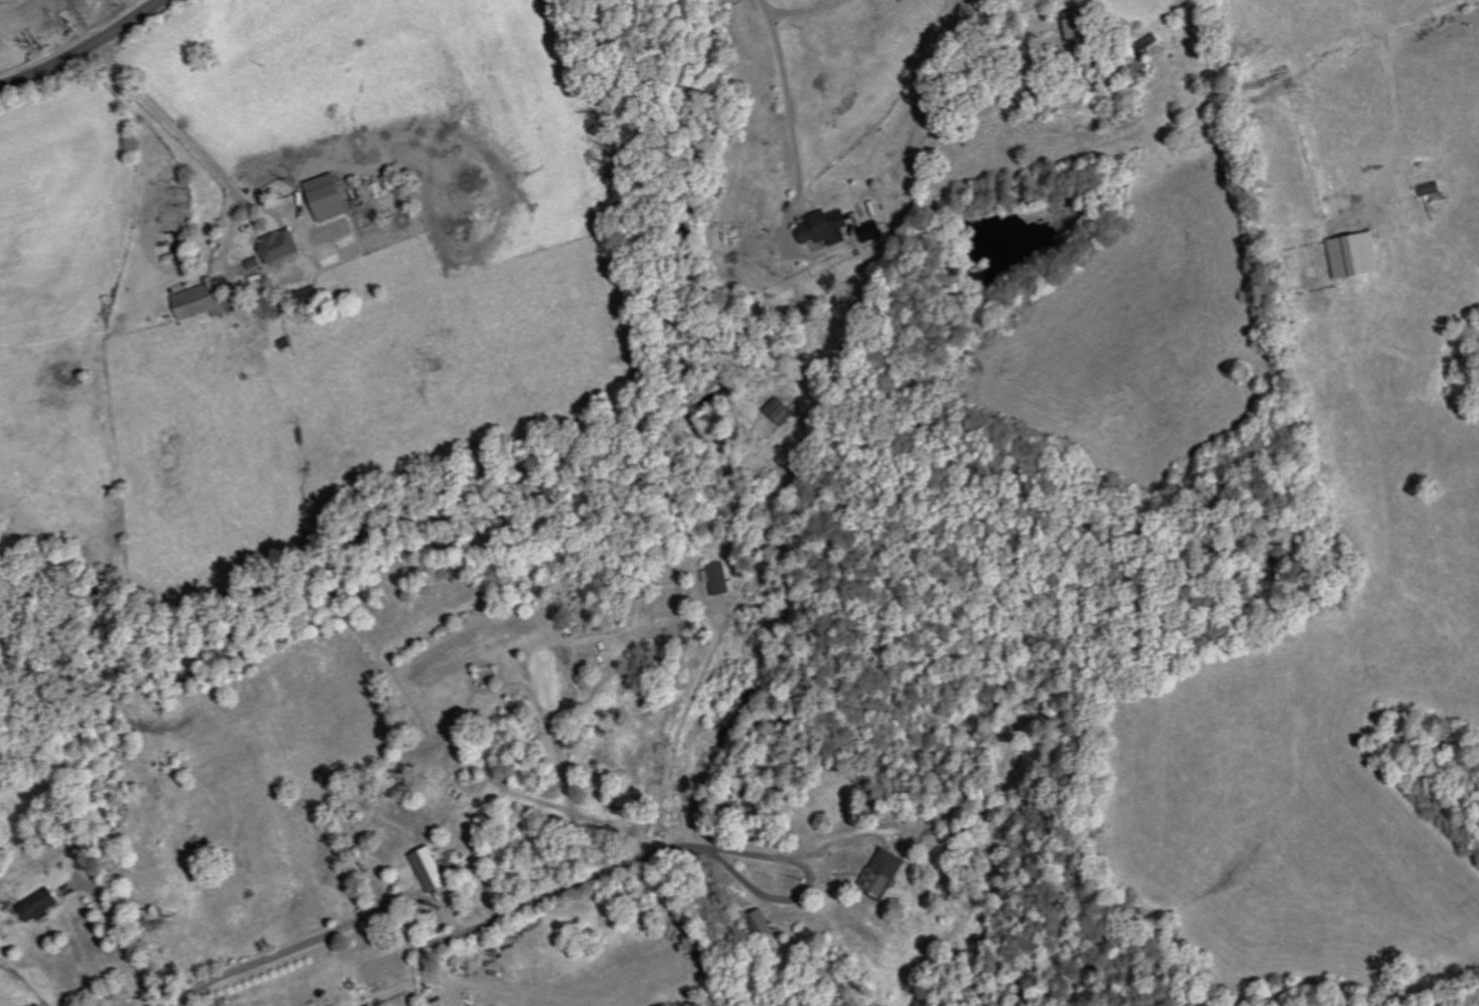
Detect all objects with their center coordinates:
building: (1081, 38)
road: (82, 49)
road: (1391, 59)
building: (1435, 189)
building: (180, 196)
building: (332, 199)
building: (181, 215)
building: (829, 229)
building: (875, 232)
building: (283, 247)
building: (1359, 257)
building: (311, 296)
building: (204, 301)
building: (782, 411)
building: (723, 579)
building: (434, 870)
building: (888, 874)
building: (43, 905)
building: (764, 923)
road: (291, 951)

